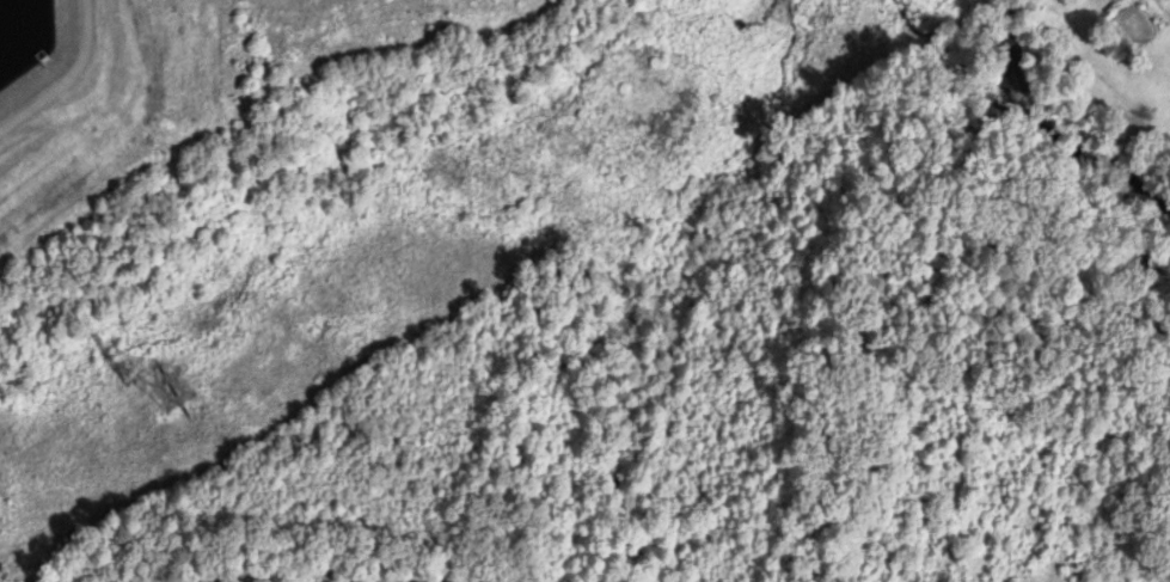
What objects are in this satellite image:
building: (1162, 0)
power tower: (174, 391)

